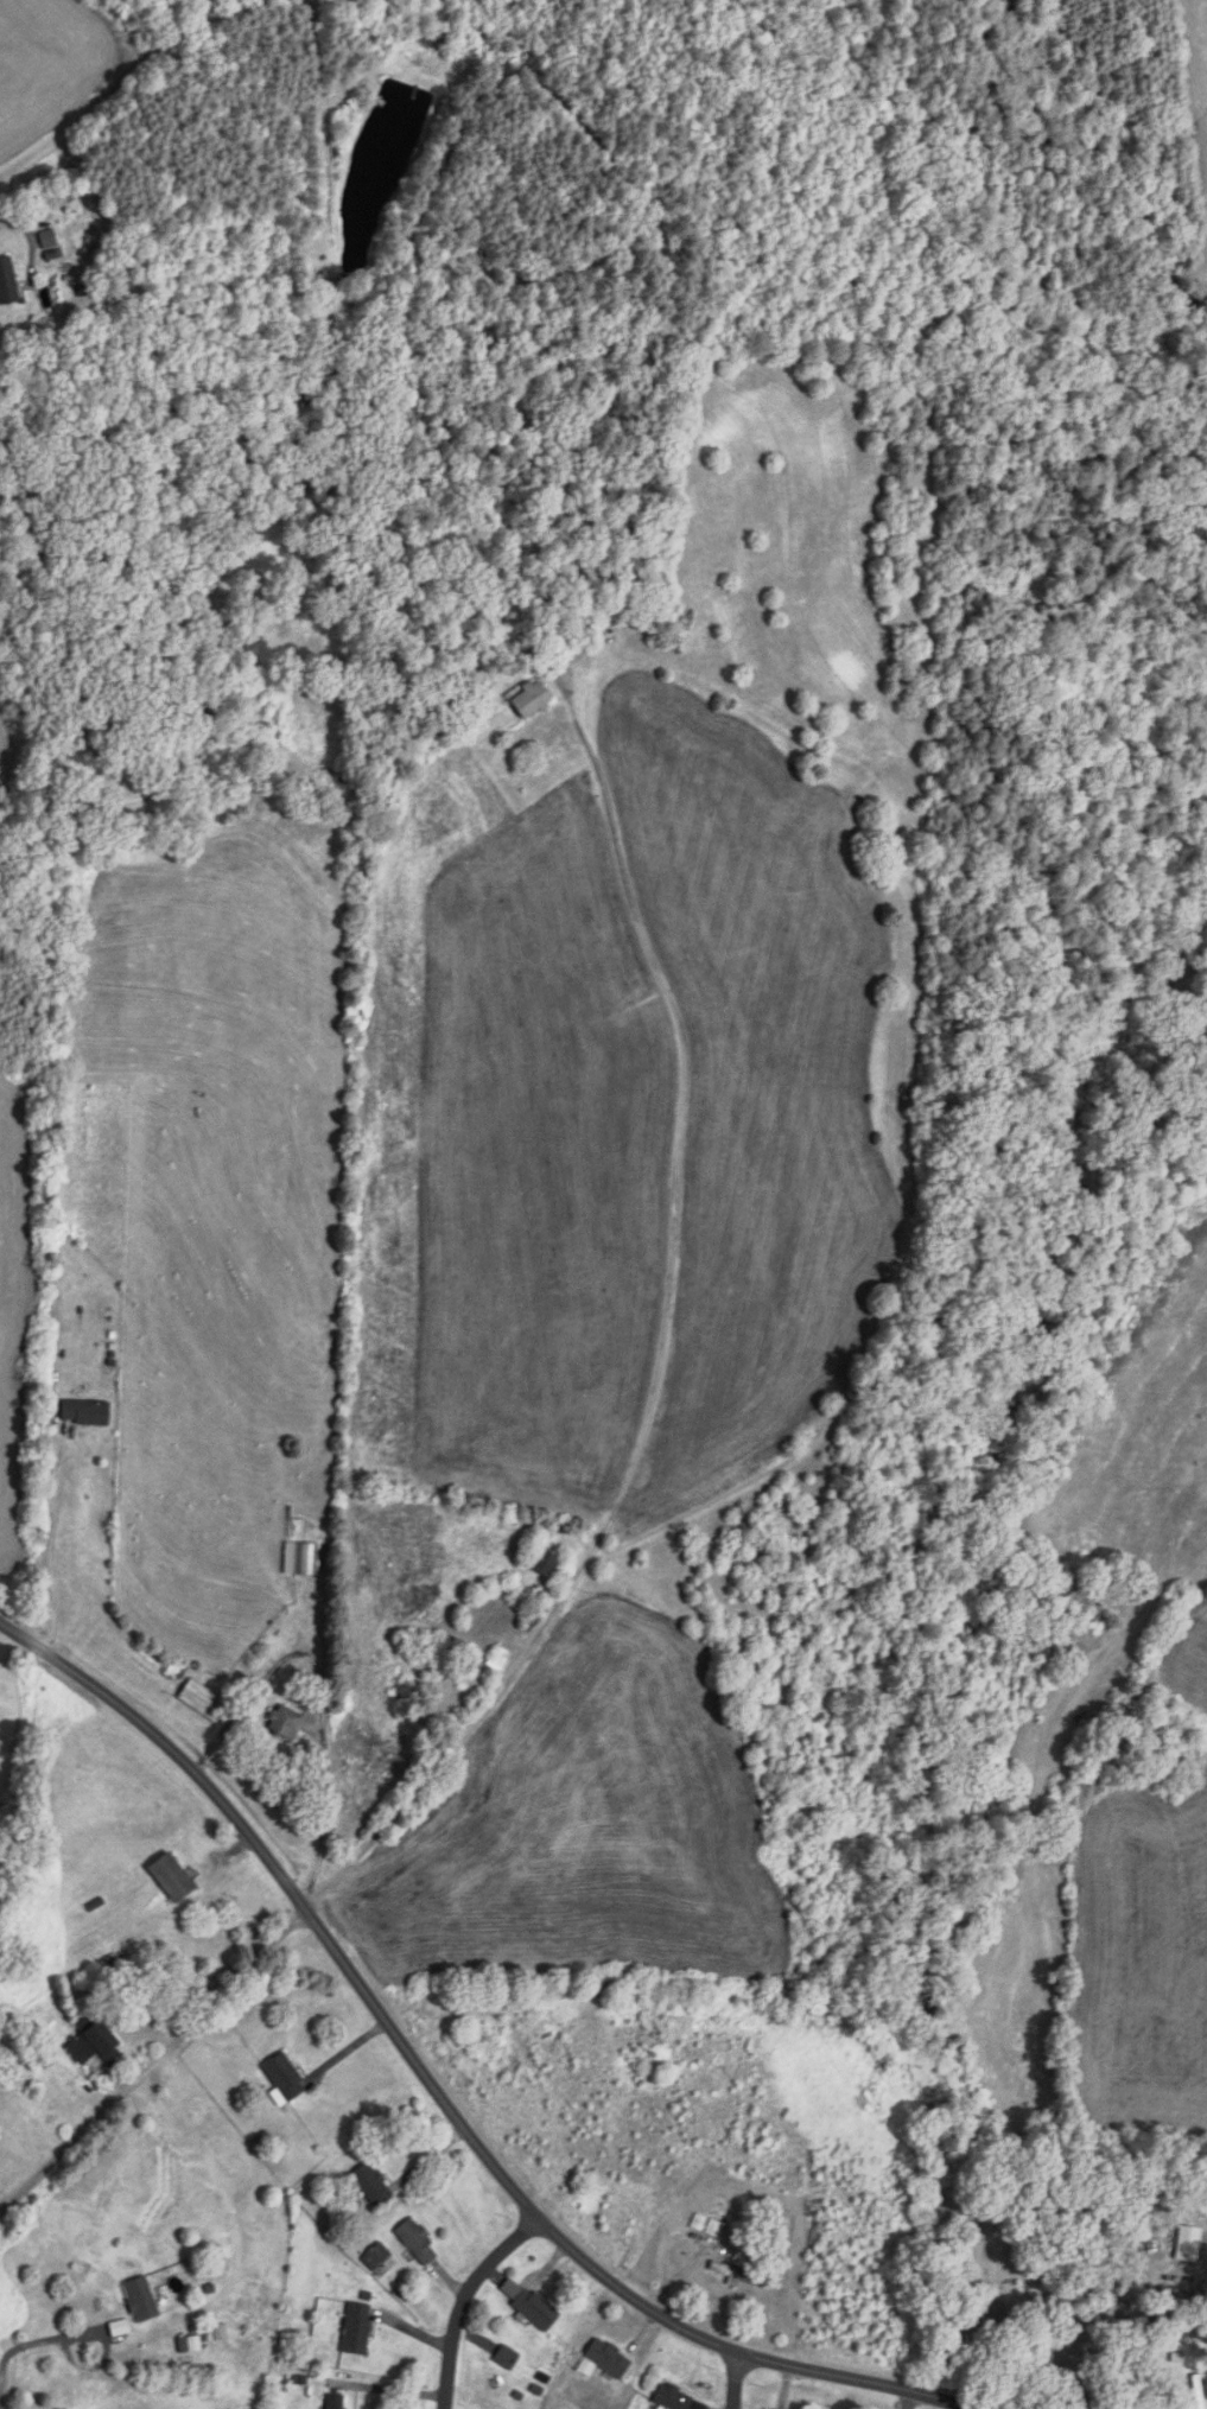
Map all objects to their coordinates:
building: (50, 246)
building: (322, 278)
building: (8, 284)
building: (558, 667)
building: (533, 701)
road: (662, 1341)
building: (87, 1413)
road: (49, 1551)
building: (303, 1558)
building: (553, 1563)
building: (500, 1658)
road: (319, 1698)
building: (202, 1701)
building: (286, 1722)
building: (1146, 1733)
building: (174, 1877)
road: (1072, 1989)
building: (96, 2043)
building: (527, 2054)
road: (153, 2057)
building: (286, 2078)
road: (437, 2090)
building: (374, 2185)
building: (709, 2225)
building: (419, 2242)
building: (377, 2258)
building: (736, 2274)
road: (462, 2296)
building: (142, 2300)
building: (538, 2309)
building: (358, 2328)
road: (94, 2331)
building: (508, 2357)
building: (606, 2360)
road: (1, 2377)
road: (732, 2381)
building: (679, 2400)
building: (337, 2402)

